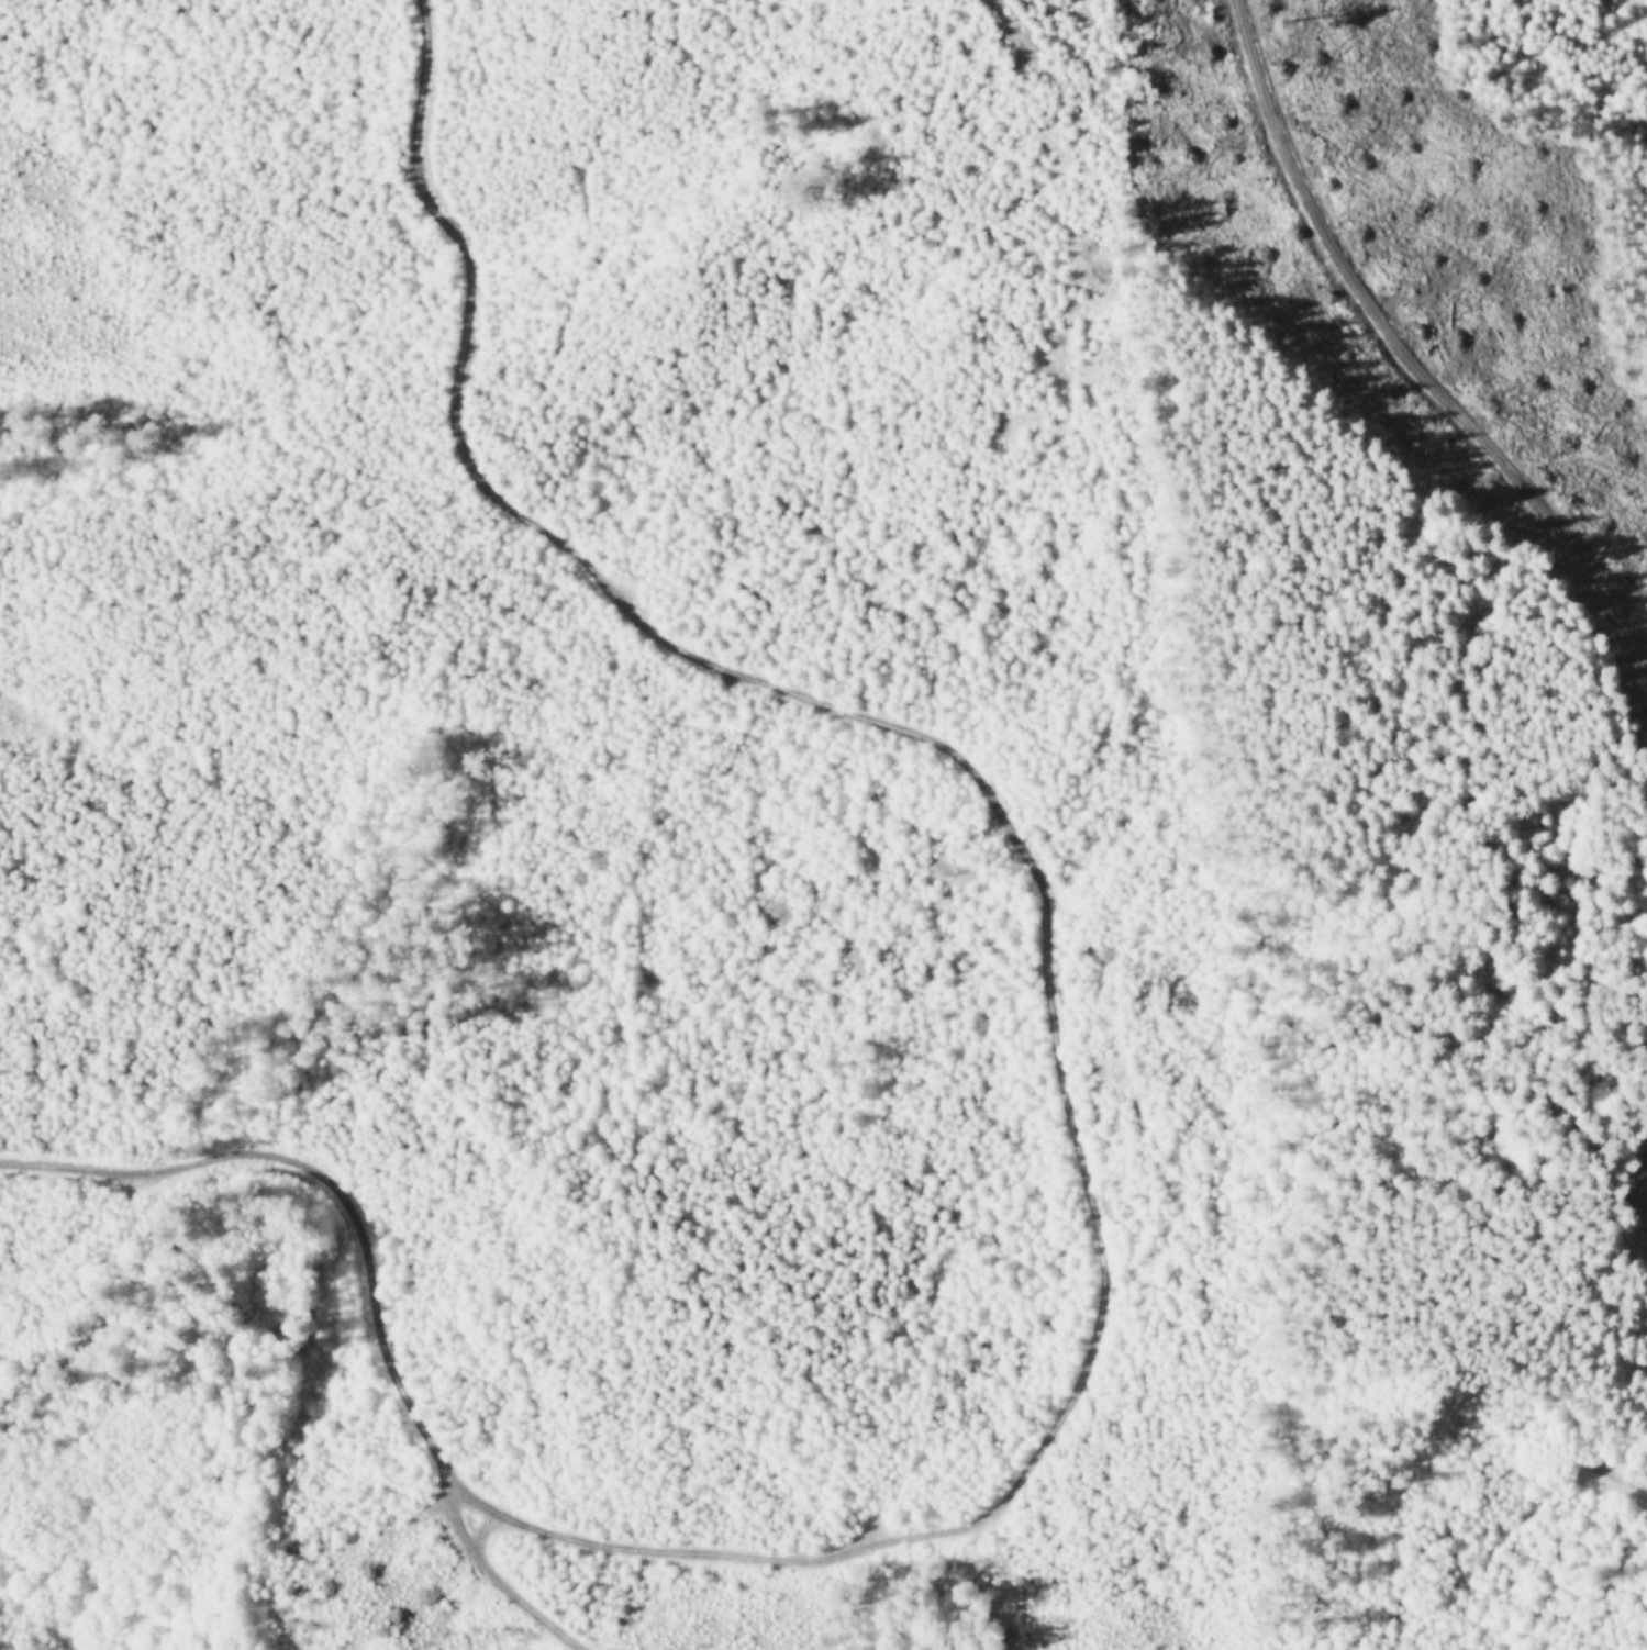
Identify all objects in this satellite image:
road: (1435, 292)
road: (1633, 1188)
road: (324, 1478)

